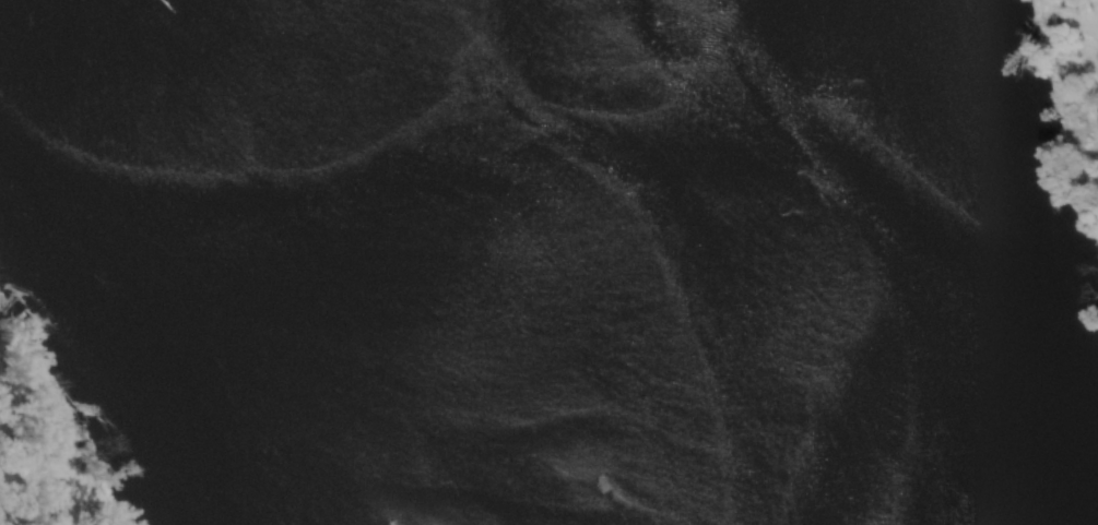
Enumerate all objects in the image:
river: (669, 264)

